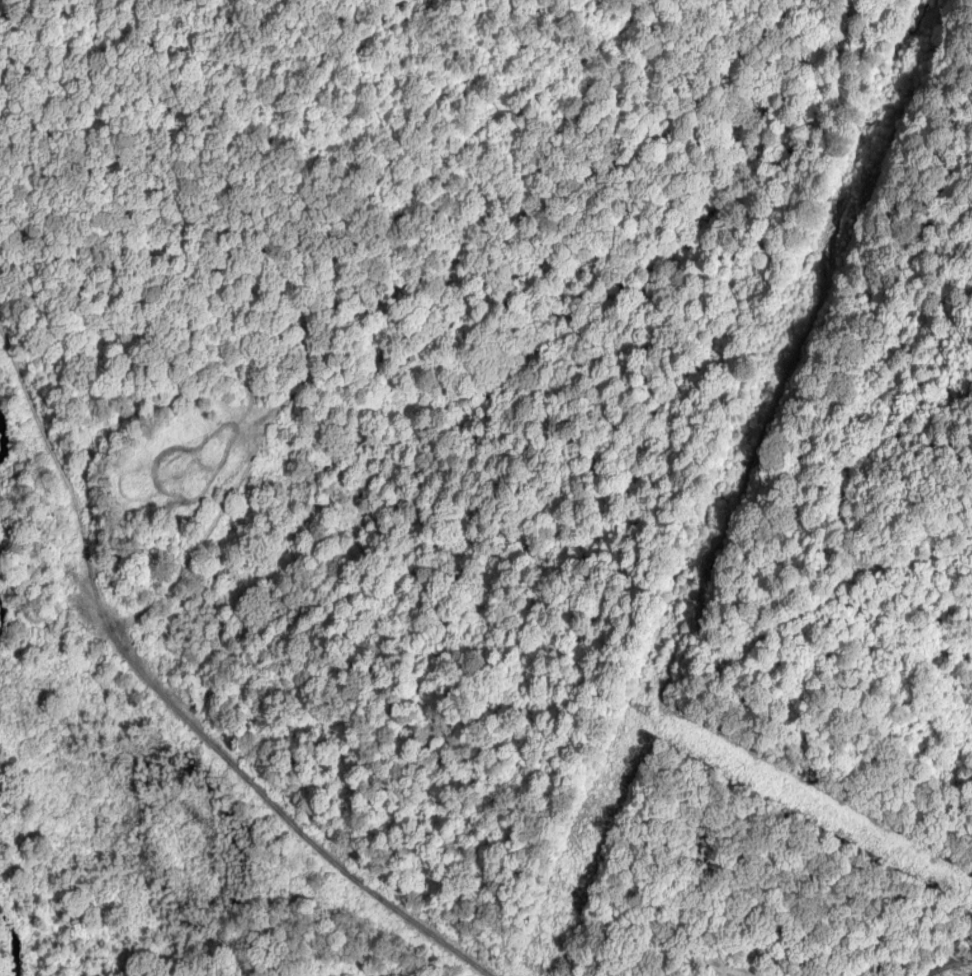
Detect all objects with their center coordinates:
road: (21, 383)
road: (212, 745)
road: (944, 958)

